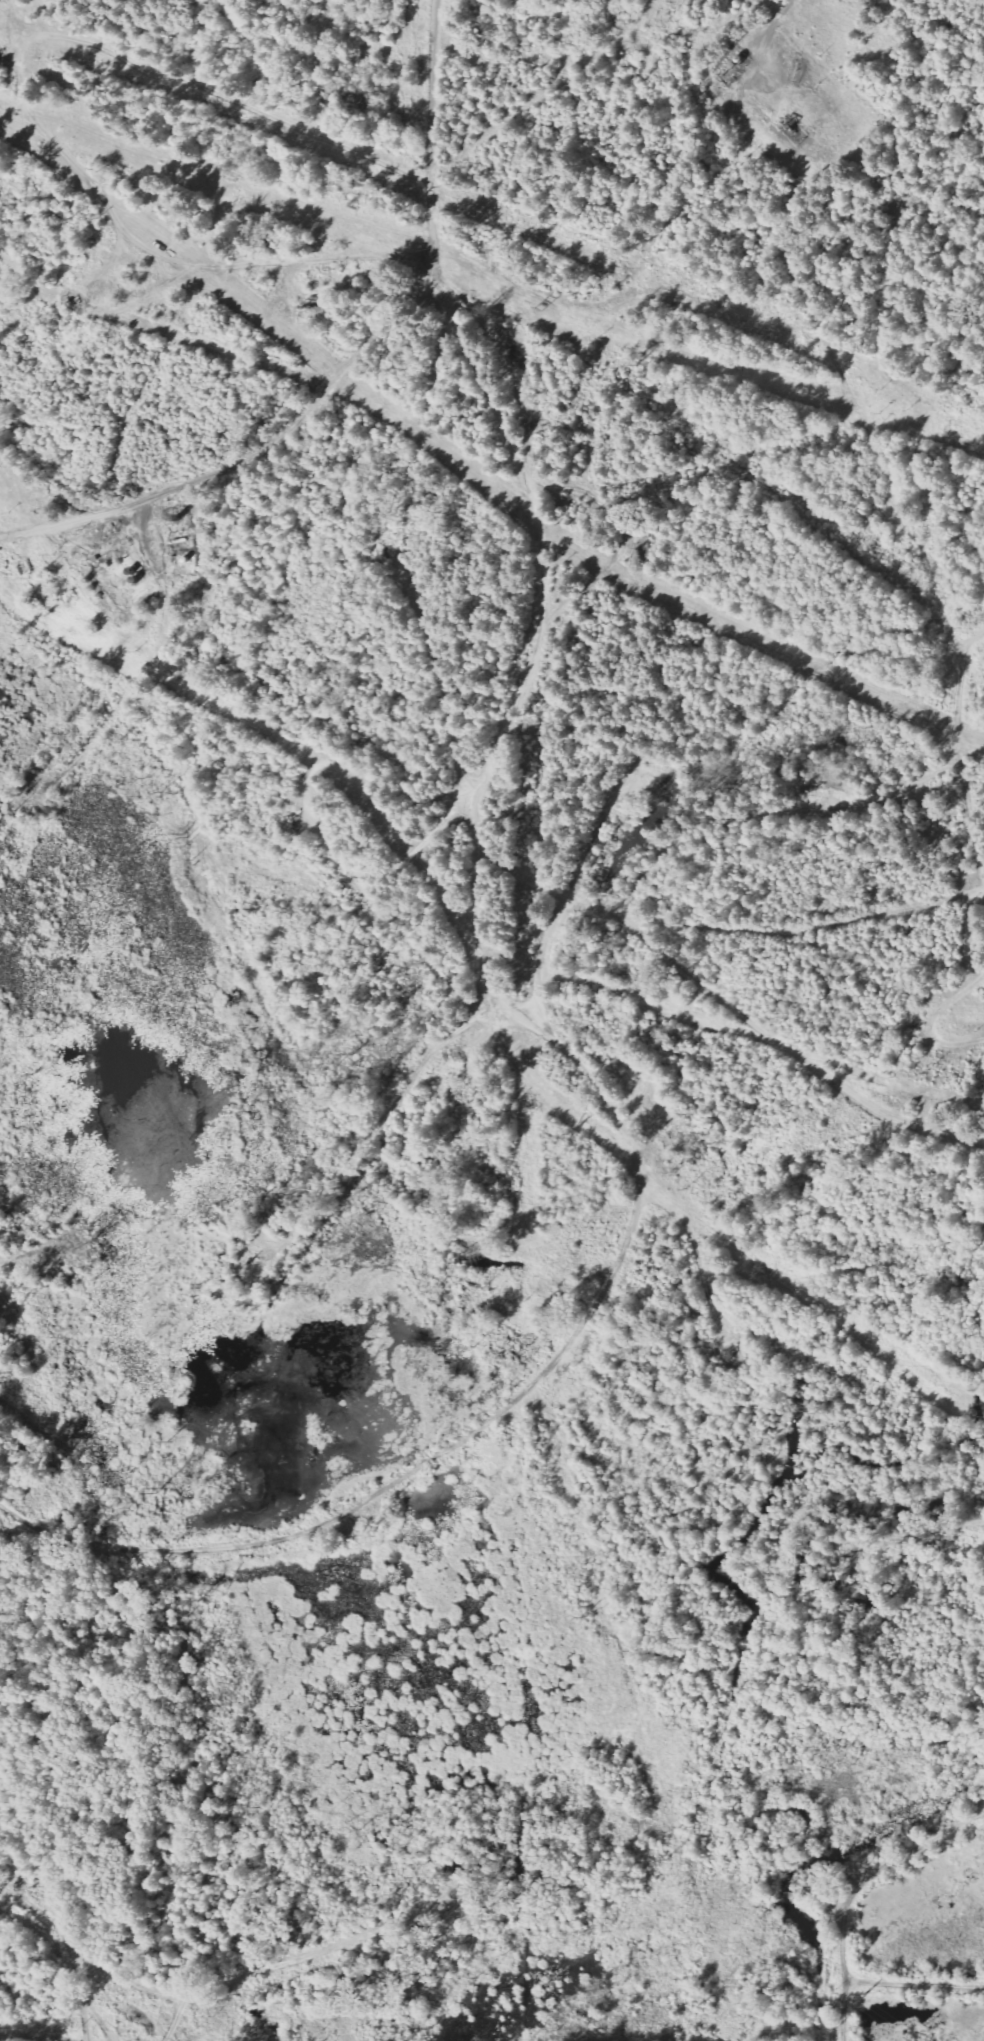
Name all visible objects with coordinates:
road: (432, 128)
power tower: (154, 1488)
power tower: (452, 1704)
power tower: (668, 1857)
power tower: (857, 1999)

